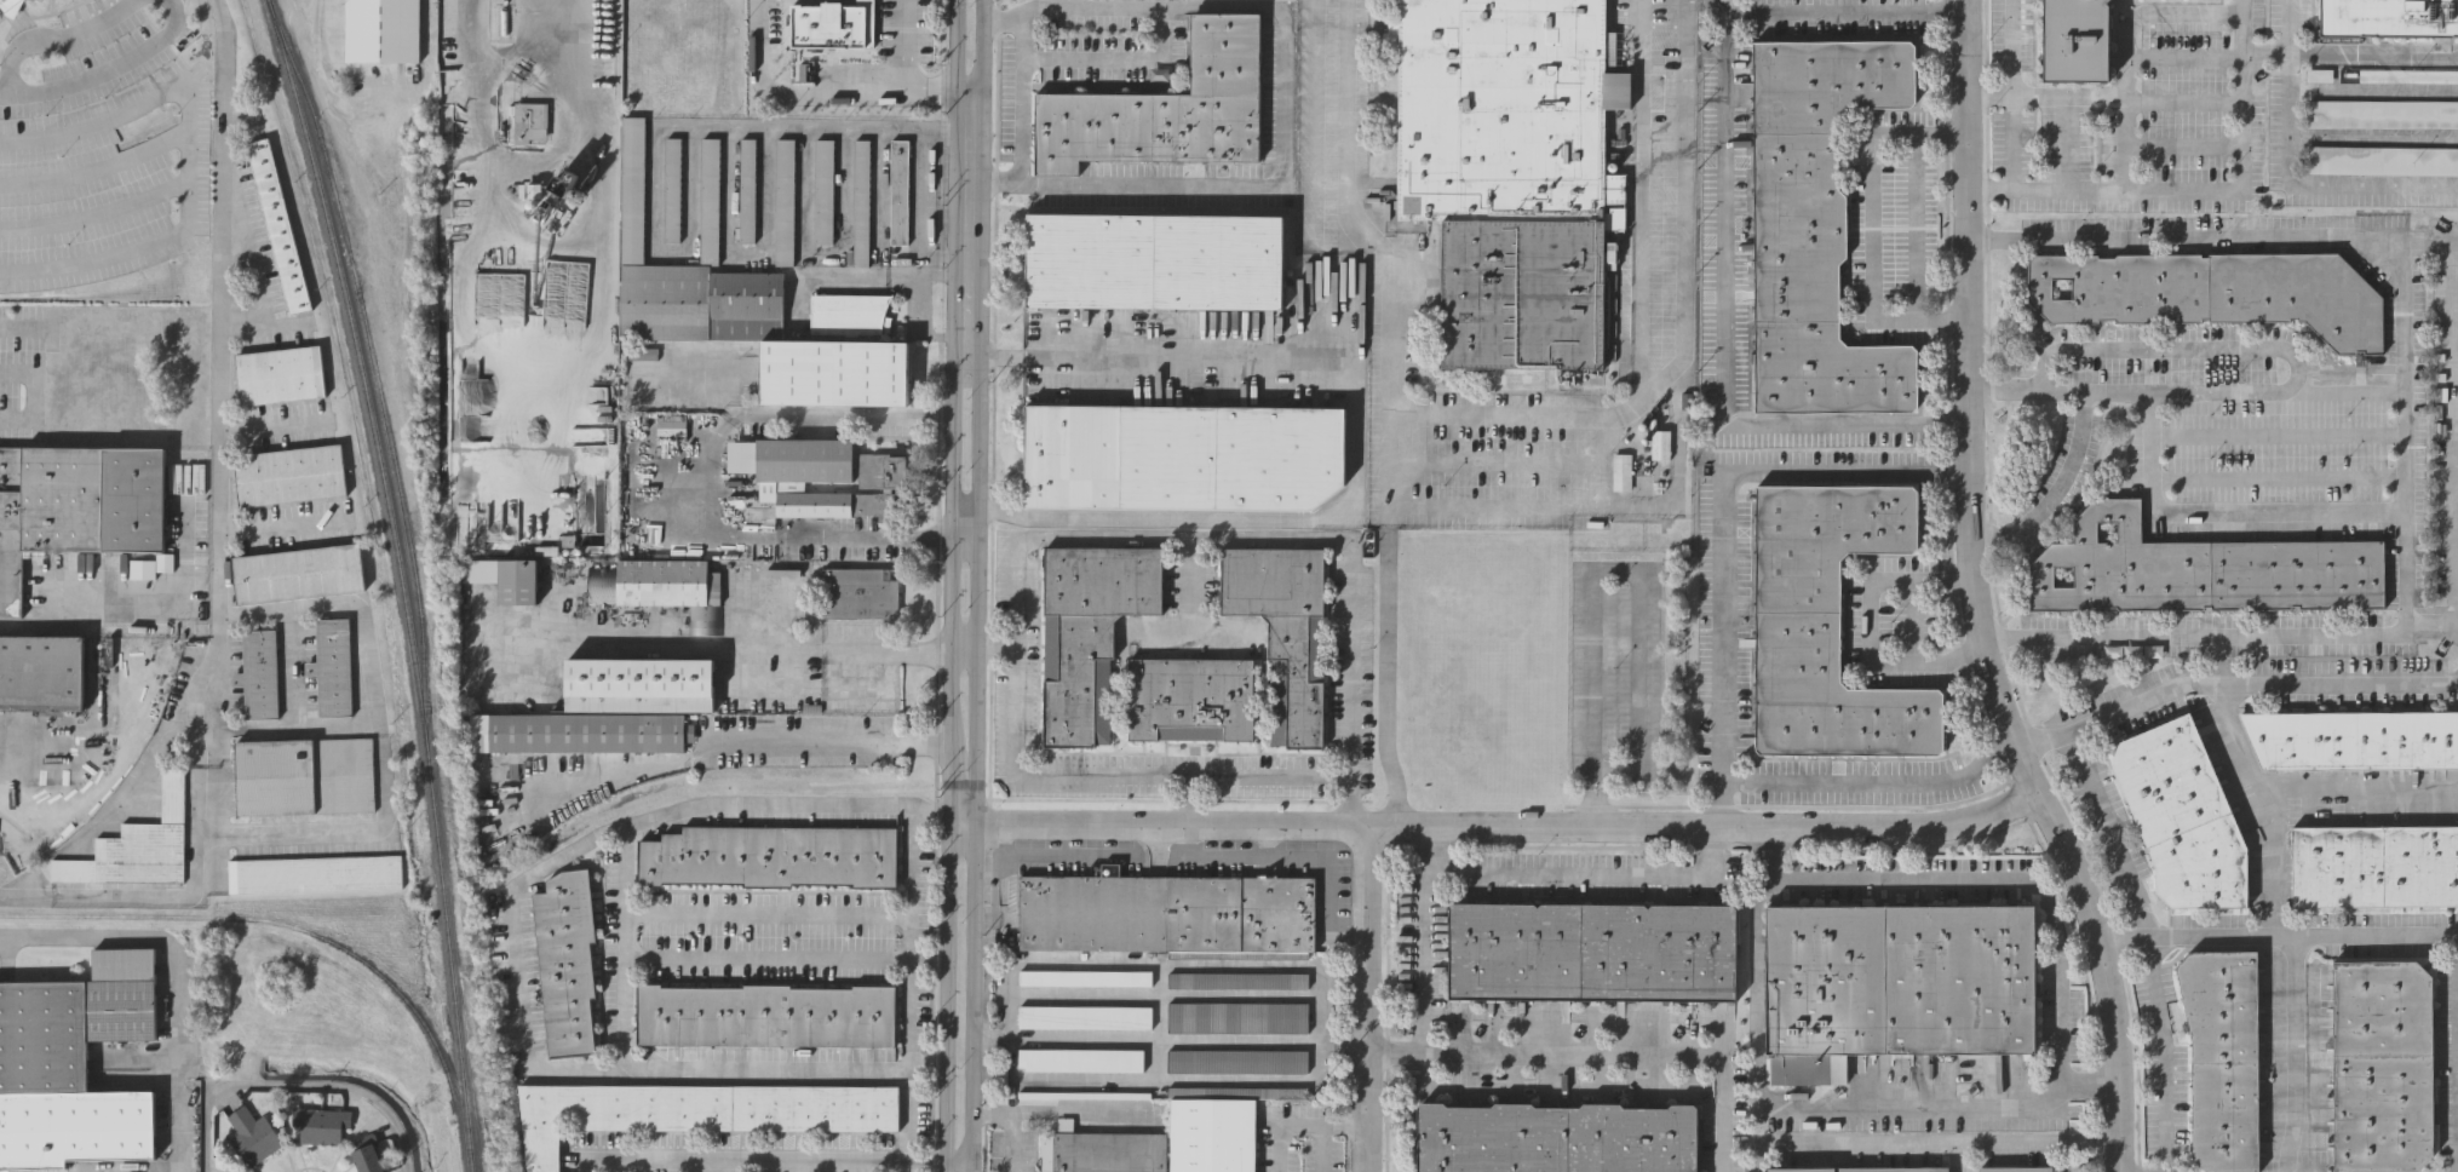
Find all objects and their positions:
building: (6, 5)
road: (1847, 16)
building: (2388, 19)
building: (828, 25)
building: (381, 29)
road: (57, 40)
building: (2077, 40)
road: (2006, 46)
road: (2268, 53)
road: (2126, 56)
road: (2372, 56)
road: (1116, 58)
road: (906, 67)
road: (109, 69)
building: (2382, 77)
parking lot: (2382, 77)
road: (1281, 92)
road: (1989, 93)
road: (4, 94)
road: (794, 94)
road: (972, 94)
road: (2186, 94)
road: (1020, 96)
building: (1166, 108)
building: (2382, 114)
parking lot: (2382, 114)
building: (529, 122)
road: (655, 126)
road: (971, 131)
road: (2121, 143)
parking lot: (99, 145)
road: (191, 155)
building: (2381, 160)
parking lot: (2381, 160)
road: (98, 168)
building: (1509, 172)
road: (2290, 176)
road: (1993, 186)
building: (748, 188)
building: (825, 188)
building: (673, 189)
building: (898, 190)
road: (2175, 191)
building: (711, 200)
building: (786, 201)
building: (863, 201)
road: (1683, 202)
building: (558, 208)
road: (919, 211)
road: (98, 214)
road: (1914, 223)
building: (1814, 224)
building: (278, 225)
road: (1871, 226)
road: (2215, 239)
building: (610, 257)
building: (1155, 260)
road: (969, 262)
road: (883, 275)
building: (688, 281)
railway: (145, 291)
building: (2212, 291)
building: (851, 316)
road: (917, 320)
road: (25, 328)
road: (1723, 335)
road: (2192, 346)
road: (966, 354)
road: (1035, 355)
parking lot: (24, 367)
building: (833, 372)
building: (281, 373)
road: (223, 384)
road: (2226, 393)
road: (33, 395)
road: (1500, 416)
road: (275, 426)
road: (2456, 435)
building: (1661, 443)
building: (2253, 448)
building: (1184, 454)
road: (1497, 459)
road: (2068, 469)
building: (883, 470)
building: (1621, 471)
building: (292, 472)
road: (712, 478)
building: (802, 478)
road: (1350, 488)
building: (75, 504)
road: (1495, 505)
road: (2195, 516)
road: (1718, 524)
road: (282, 527)
road: (964, 535)
building: (143, 570)
building: (299, 570)
building: (2201, 570)
railway: (400, 580)
building: (518, 580)
road: (951, 585)
road: (977, 585)
road: (1190, 587)
building: (665, 588)
road: (1592, 591)
building: (862, 594)
road: (1976, 598)
road: (139, 613)
road: (1917, 620)
building: (1830, 622)
road: (1867, 625)
building: (1287, 628)
road: (2433, 628)
building: (1091, 631)
road: (2390, 633)
road: (714, 648)
road: (964, 648)
road: (994, 649)
road: (1011, 655)
building: (334, 663)
building: (41, 671)
building: (259, 672)
road: (2230, 676)
building: (642, 683)
road: (1389, 683)
road: (1345, 684)
road: (363, 685)
railway: (155, 688)
building: (1193, 696)
building: (578, 732)
building: (2354, 737)
road: (831, 743)
road: (34, 749)
building: (305, 774)
road: (1874, 782)
road: (2362, 787)
road: (1191, 798)
road: (2269, 800)
building: (2183, 816)
railway: (599, 817)
road: (1499, 825)
road: (2107, 831)
road: (292, 834)
road: (1063, 839)
road: (1265, 840)
building: (137, 844)
building: (773, 855)
road: (1053, 855)
road: (1276, 857)
building: (2374, 866)
building: (315, 872)
road: (1590, 873)
road: (2003, 879)
road: (186, 896)
road: (24, 897)
building: (1172, 913)
road: (768, 914)
railway: (115, 918)
road: (2276, 931)
parking lot: (768, 937)
road: (1419, 937)
road: (913, 938)
building: (1592, 949)
road: (624, 950)
road: (787, 958)
road: (519, 959)
building: (568, 959)
road: (177, 972)
building: (1089, 976)
building: (1239, 978)
building: (1826, 981)
building: (1962, 981)
railway: (398, 996)
road: (1367, 998)
building: (768, 1013)
building: (1087, 1015)
building: (1239, 1016)
road: (1168, 1039)
road: (2291, 1051)
road: (2163, 1053)
road: (1600, 1056)
building: (2224, 1056)
building: (1084, 1058)
building: (1239, 1059)
building: (74, 1064)
building: (2383, 1064)
road: (294, 1082)
building: (1237, 1091)
building: (1086, 1092)
road: (1808, 1104)
building: (700, 1108)
road: (1297, 1122)
building: (322, 1125)
road: (907, 1134)
building: (1213, 1134)
building: (254, 1136)
building: (1494, 1137)
building: (1633, 1137)
road: (1932, 1144)
building: (1103, 1150)
building: (368, 1156)
road: (1959, 1157)
road: (2068, 1157)
road: (783, 1159)
road: (618, 1164)
road: (960, 1164)
building: (1862, 1168)
building: (2017, 1170)

